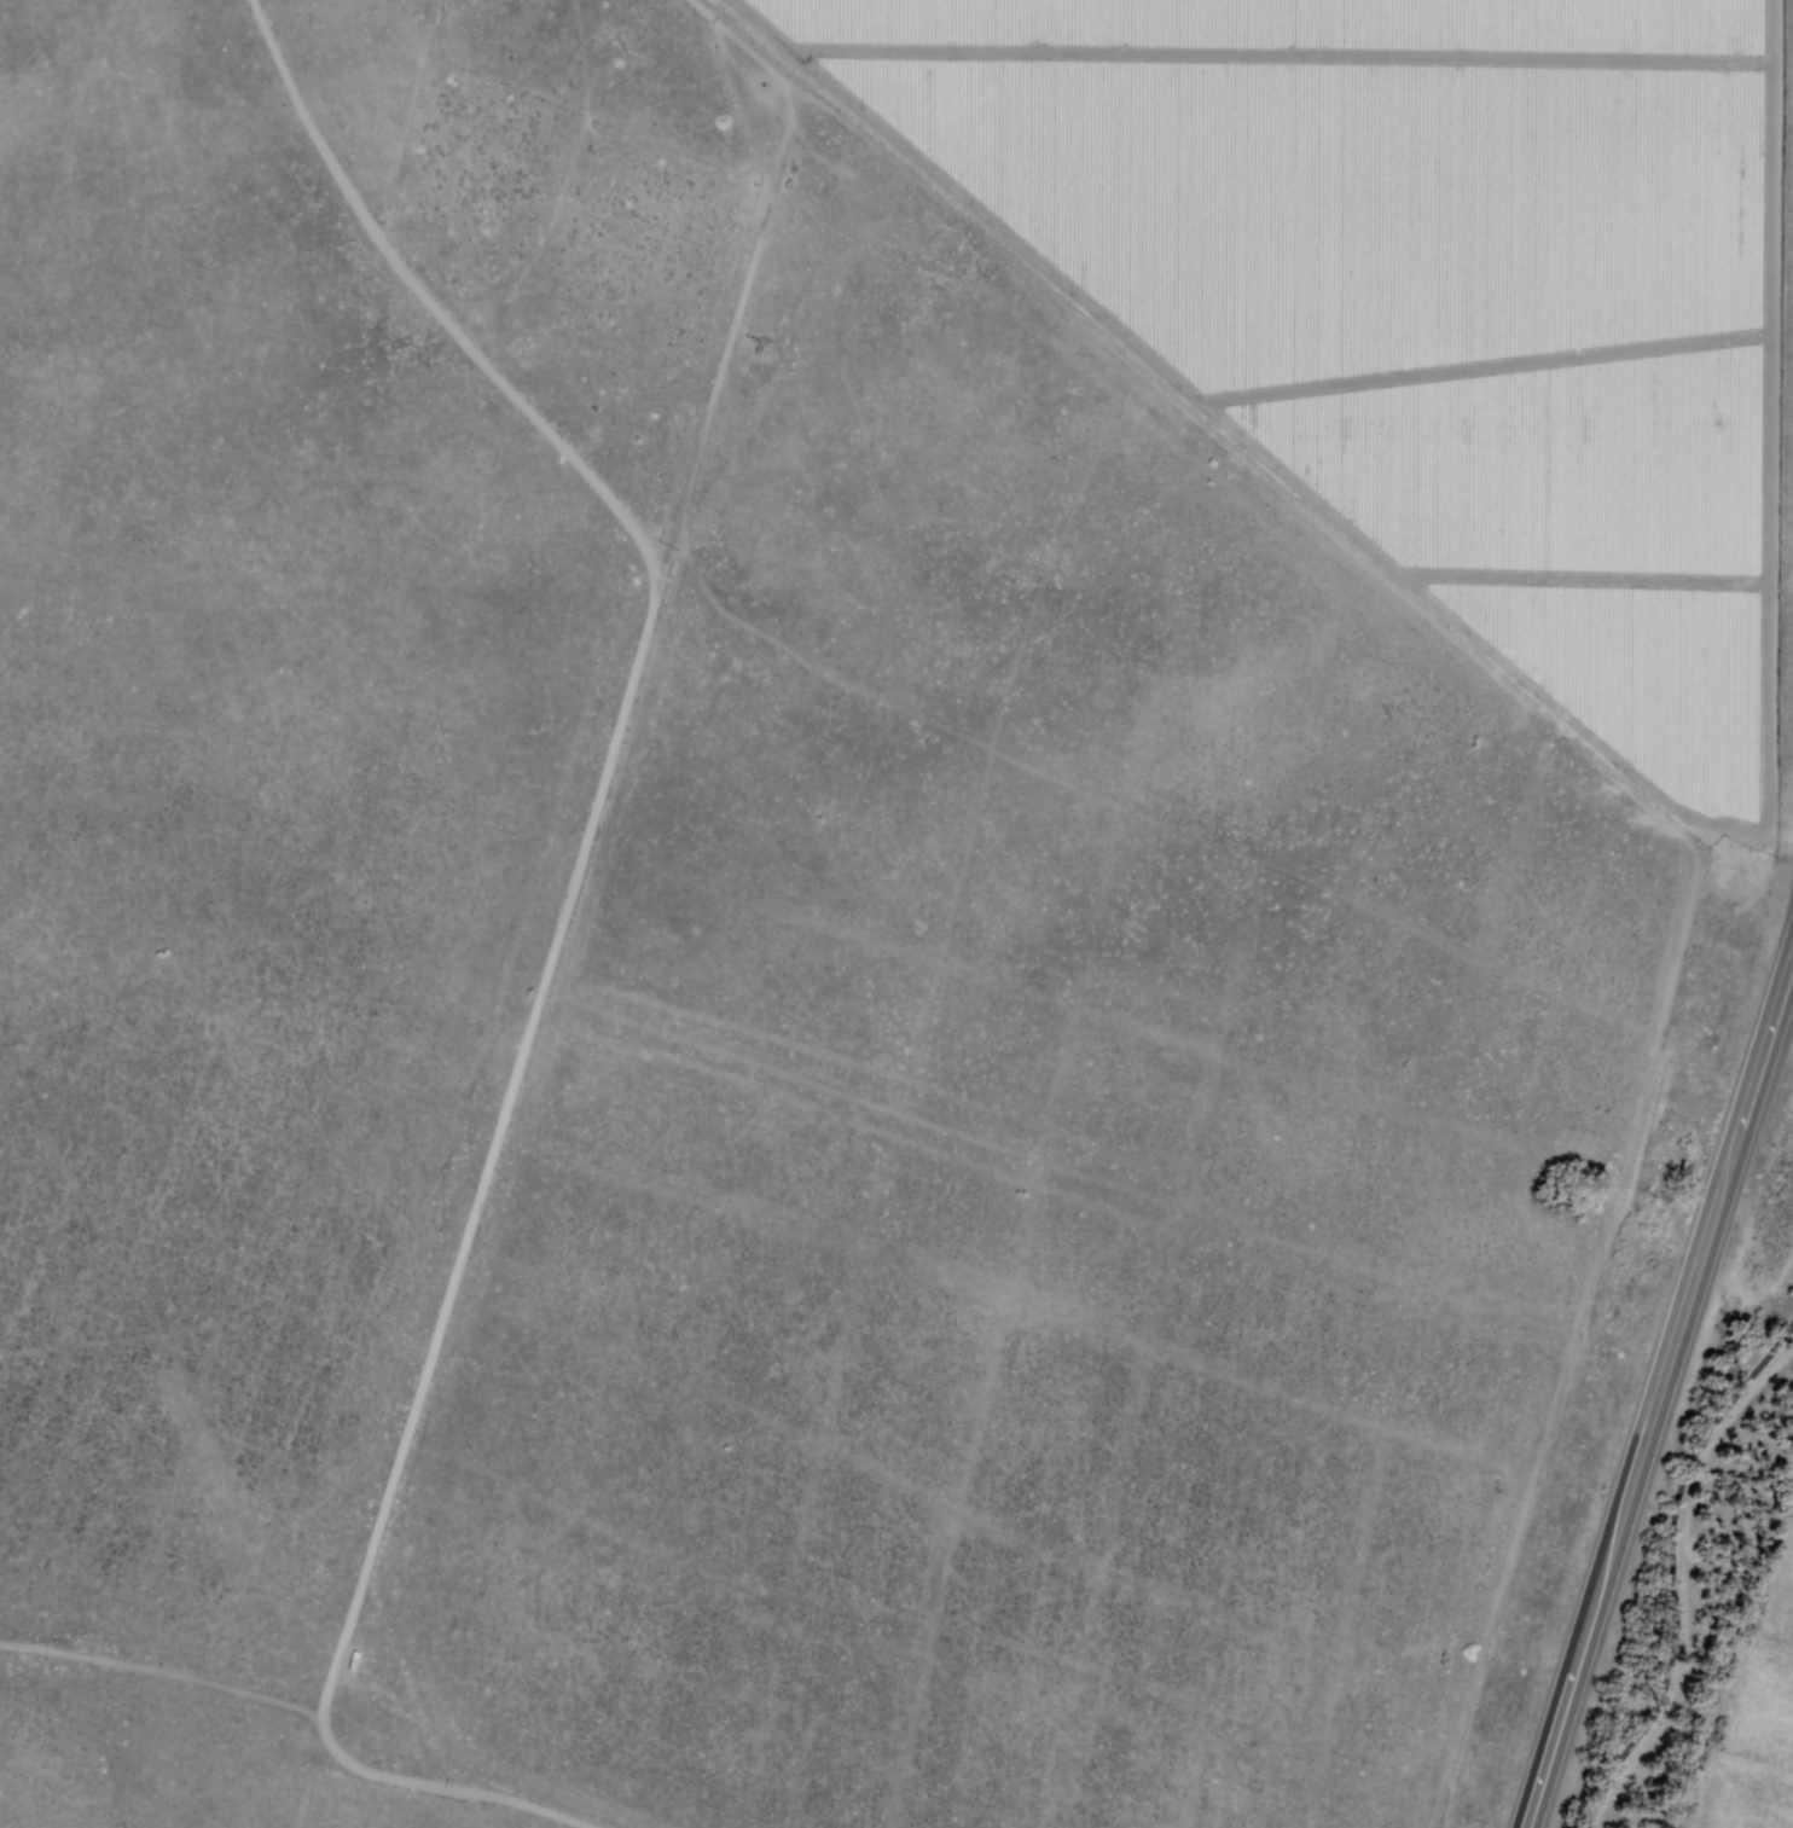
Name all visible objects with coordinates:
crop: (892, 19)
crop: (1375, 23)
crop: (946, 114)
crop: (1388, 227)
crop: (1551, 558)
road: (501, 1092)
road: (1655, 1387)
road: (1672, 1560)
road: (307, 1720)

